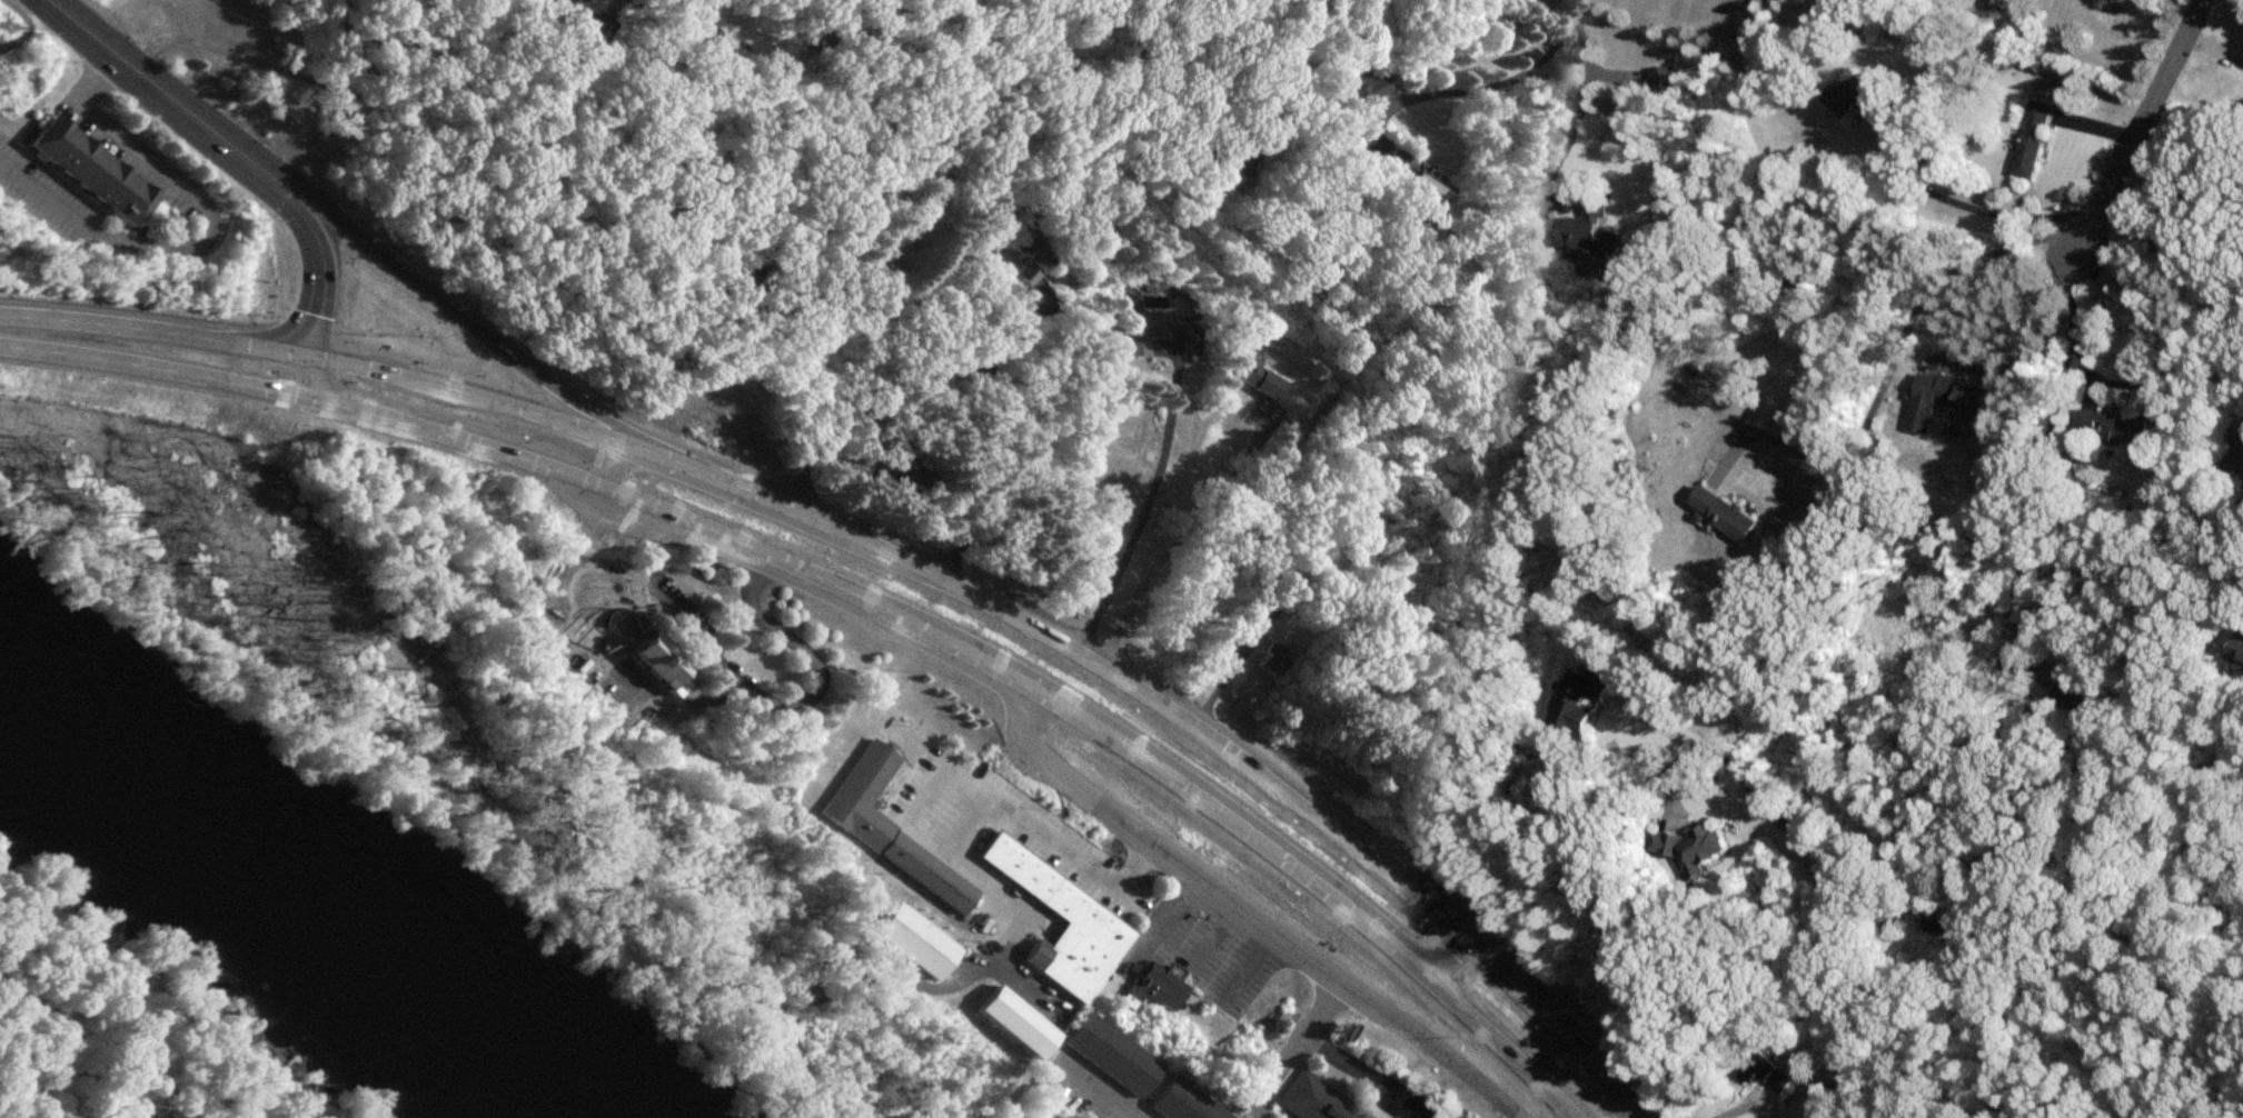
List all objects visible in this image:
building: (1994, 3)
road: (13, 17)
building: (582, 17)
building: (706, 38)
road: (694, 59)
road: (1292, 78)
building: (1666, 81)
road: (1477, 83)
building: (1360, 88)
building: (1856, 96)
road: (181, 102)
road: (1581, 102)
road: (2141, 120)
road: (482, 133)
building: (2032, 140)
building: (1235, 163)
building: (91, 169)
building: (1412, 178)
road: (1964, 204)
road: (210, 222)
building: (1590, 230)
building: (1032, 257)
road: (327, 278)
road: (482, 328)
road: (159, 329)
building: (1148, 329)
road: (2154, 338)
traffic signals: (318, 353)
road: (2227, 361)
road: (1889, 362)
road: (171, 369)
road: (2201, 372)
building: (1264, 380)
road: (324, 381)
road: (834, 393)
building: (1947, 401)
traffic signals: (343, 405)
building: (2114, 427)
road: (1015, 429)
road: (2043, 455)
road: (621, 456)
building: (2233, 465)
building: (914, 476)
road: (1147, 496)
building: (1725, 513)
road: (1178, 536)
building: (1263, 617)
road: (1041, 629)
road: (595, 643)
building: (2239, 651)
building: (1271, 657)
building: (657, 658)
road: (1009, 675)
building: (2073, 693)
road: (801, 699)
building: (1579, 699)
road: (935, 780)
building: (887, 825)
building: (1689, 847)
building: (1049, 887)
road: (1833, 895)
river: (268, 906)
road: (1868, 914)
road: (1250, 916)
traffic signals: (1448, 926)
building: (1951, 932)
building: (914, 939)
road: (1426, 957)
building: (1155, 981)
park: (139, 1029)
road: (1289, 1046)
building: (1112, 1051)
building: (1761, 1070)
road: (1367, 1074)
road: (1095, 1095)
building: (1318, 1099)
building: (1185, 1102)

